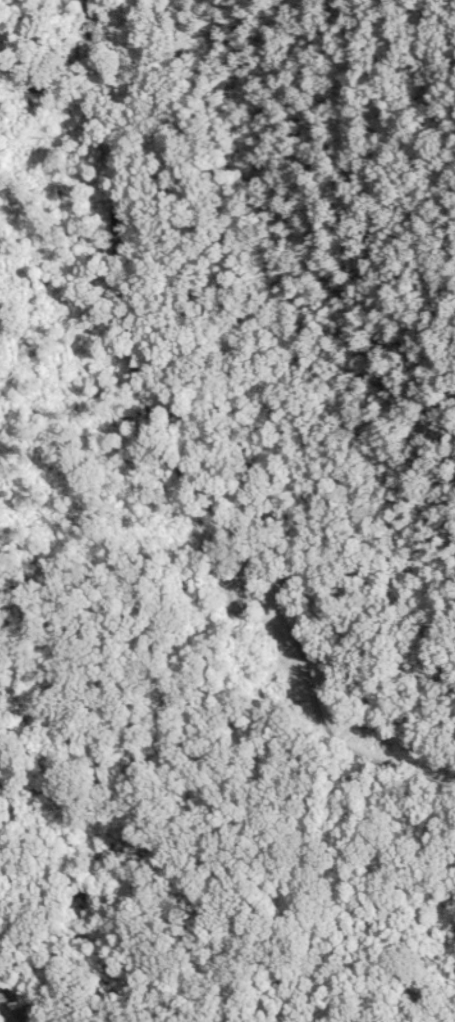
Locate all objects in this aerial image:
building: (242, 593)
road: (444, 593)
road: (25, 990)

